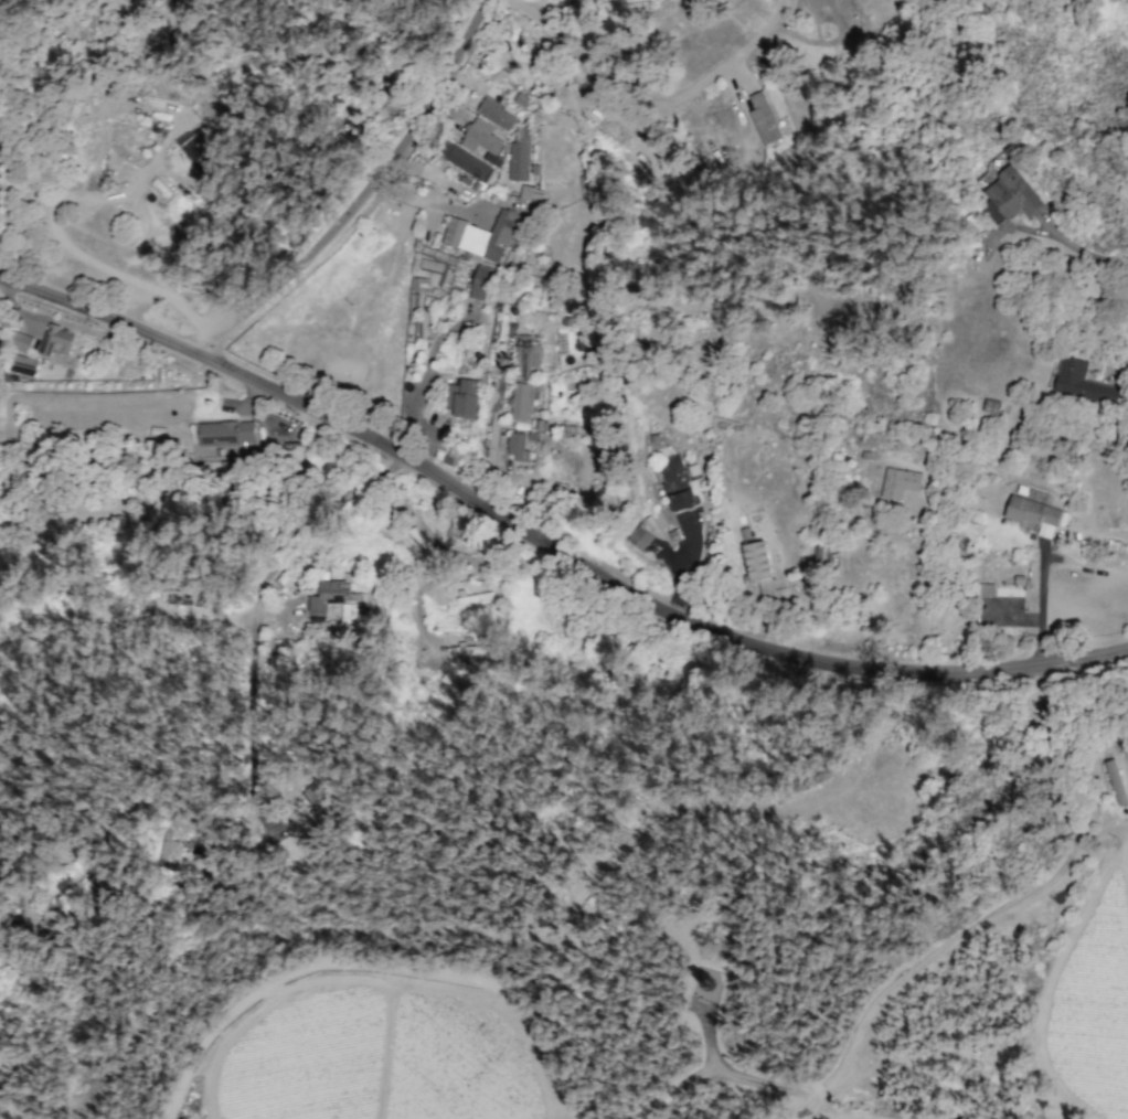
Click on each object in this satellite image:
building: (520, 99)
road: (646, 110)
building: (496, 114)
building: (763, 118)
building: (479, 137)
building: (198, 152)
building: (464, 161)
building: (518, 161)
road: (361, 192)
building: (530, 193)
building: (1011, 194)
building: (479, 235)
road: (1083, 252)
building: (479, 281)
building: (417, 284)
building: (55, 341)
building: (529, 358)
building: (23, 363)
building: (1081, 383)
building: (464, 399)
building: (522, 401)
building: (990, 406)
building: (224, 433)
road: (491, 445)
building: (515, 446)
building: (898, 482)
building: (675, 483)
building: (1032, 514)
building: (638, 537)
road: (546, 546)
building: (757, 564)
building: (986, 589)
building: (324, 598)
road: (1039, 609)
building: (349, 612)
building: (471, 650)
building: (1115, 782)
building: (320, 797)
building: (52, 917)
crop: (1086, 978)
crop: (374, 1049)

